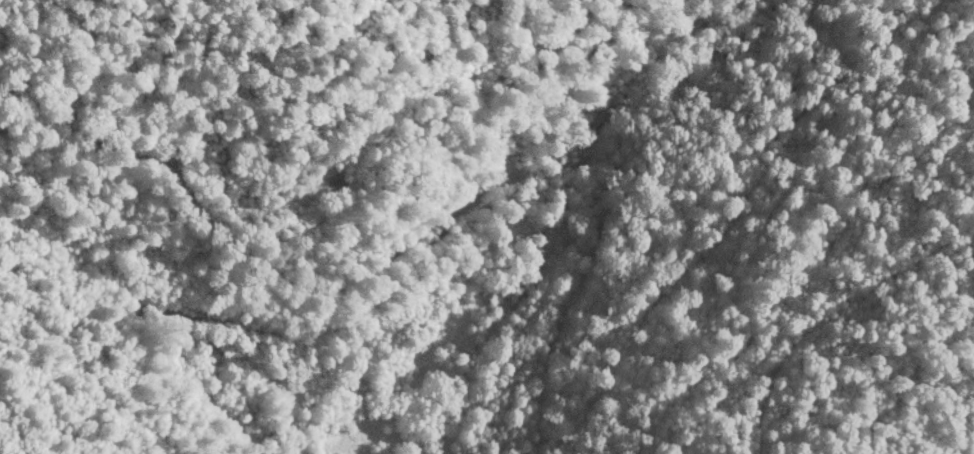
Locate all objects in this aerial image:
road: (195, 50)
road: (579, 94)
road: (152, 178)
road: (447, 245)

